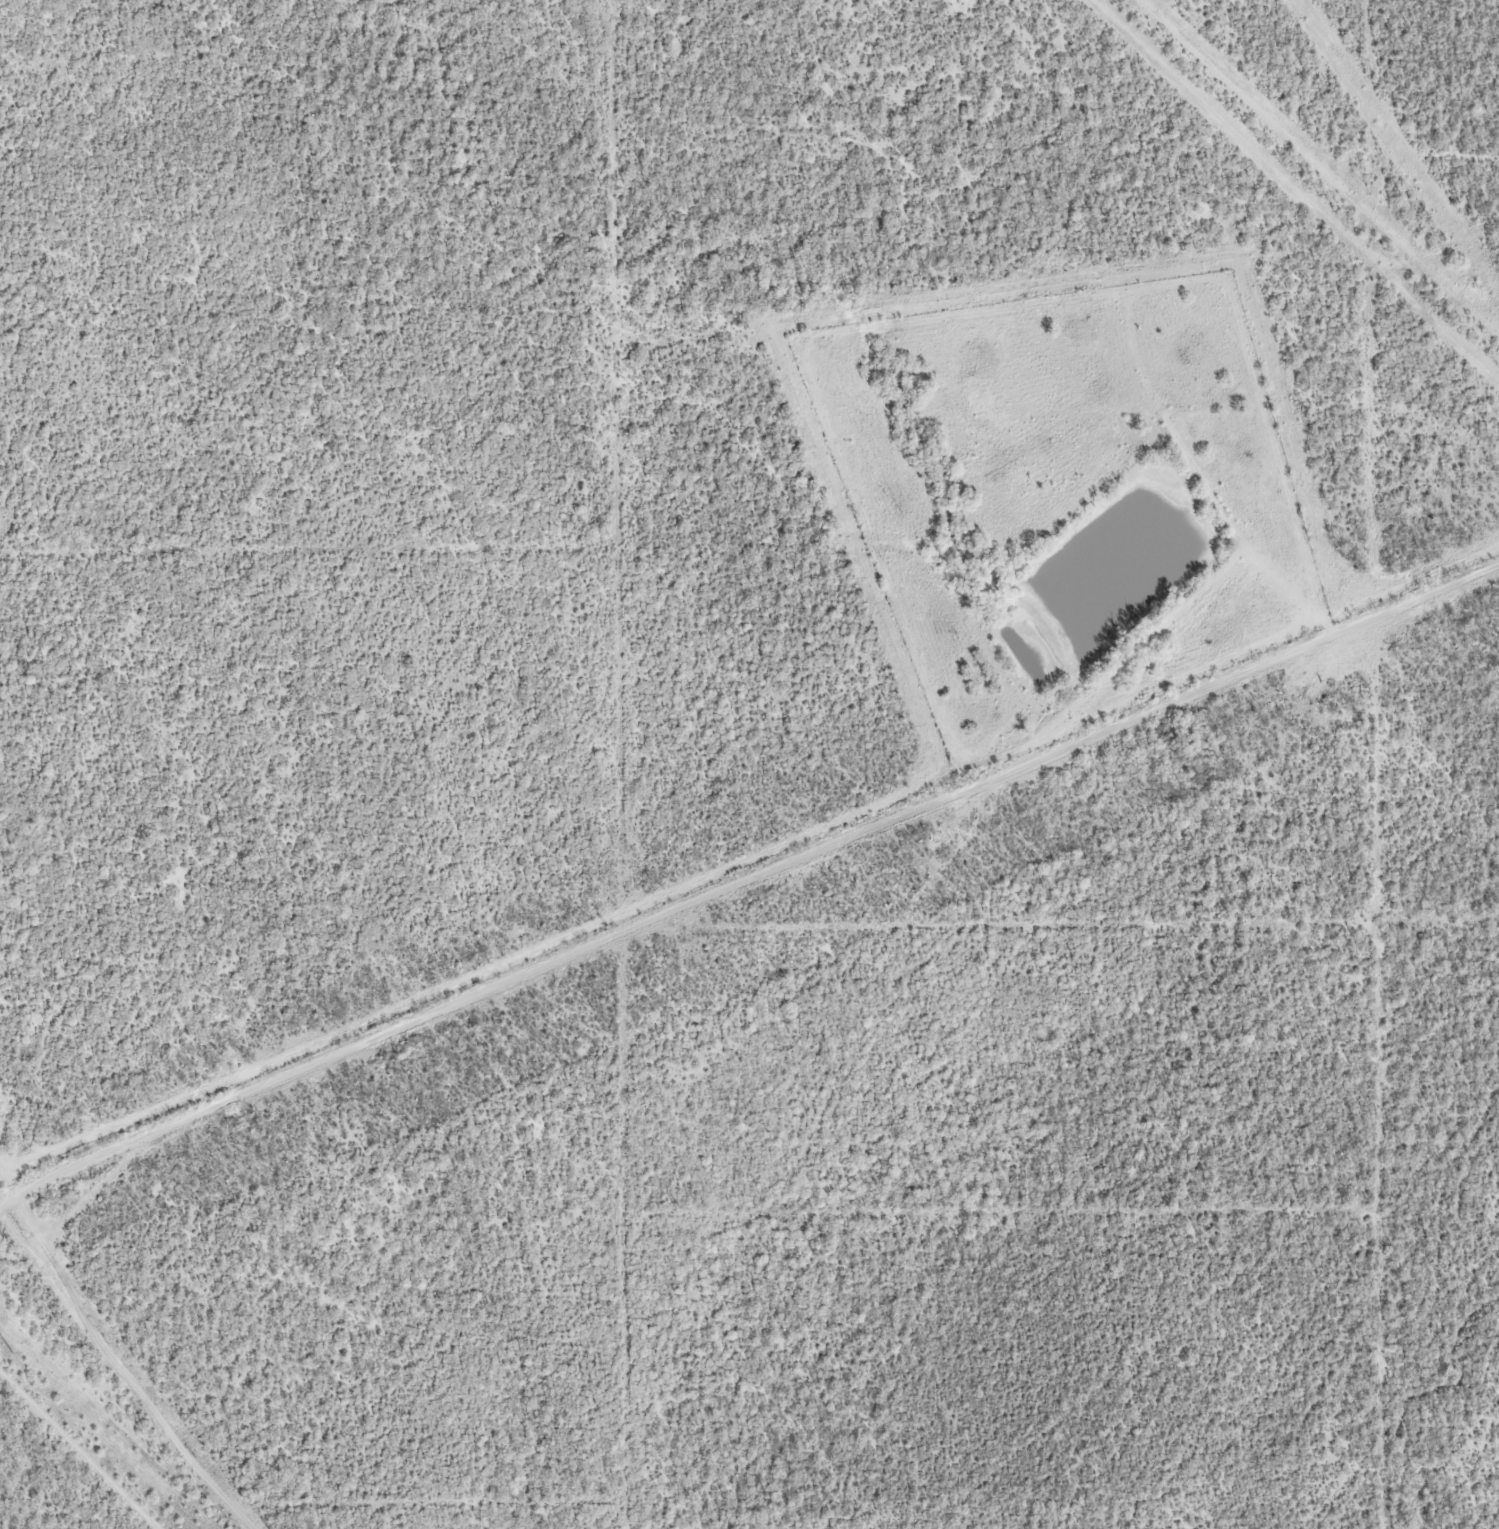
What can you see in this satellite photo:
power tower: (12, 1355)

